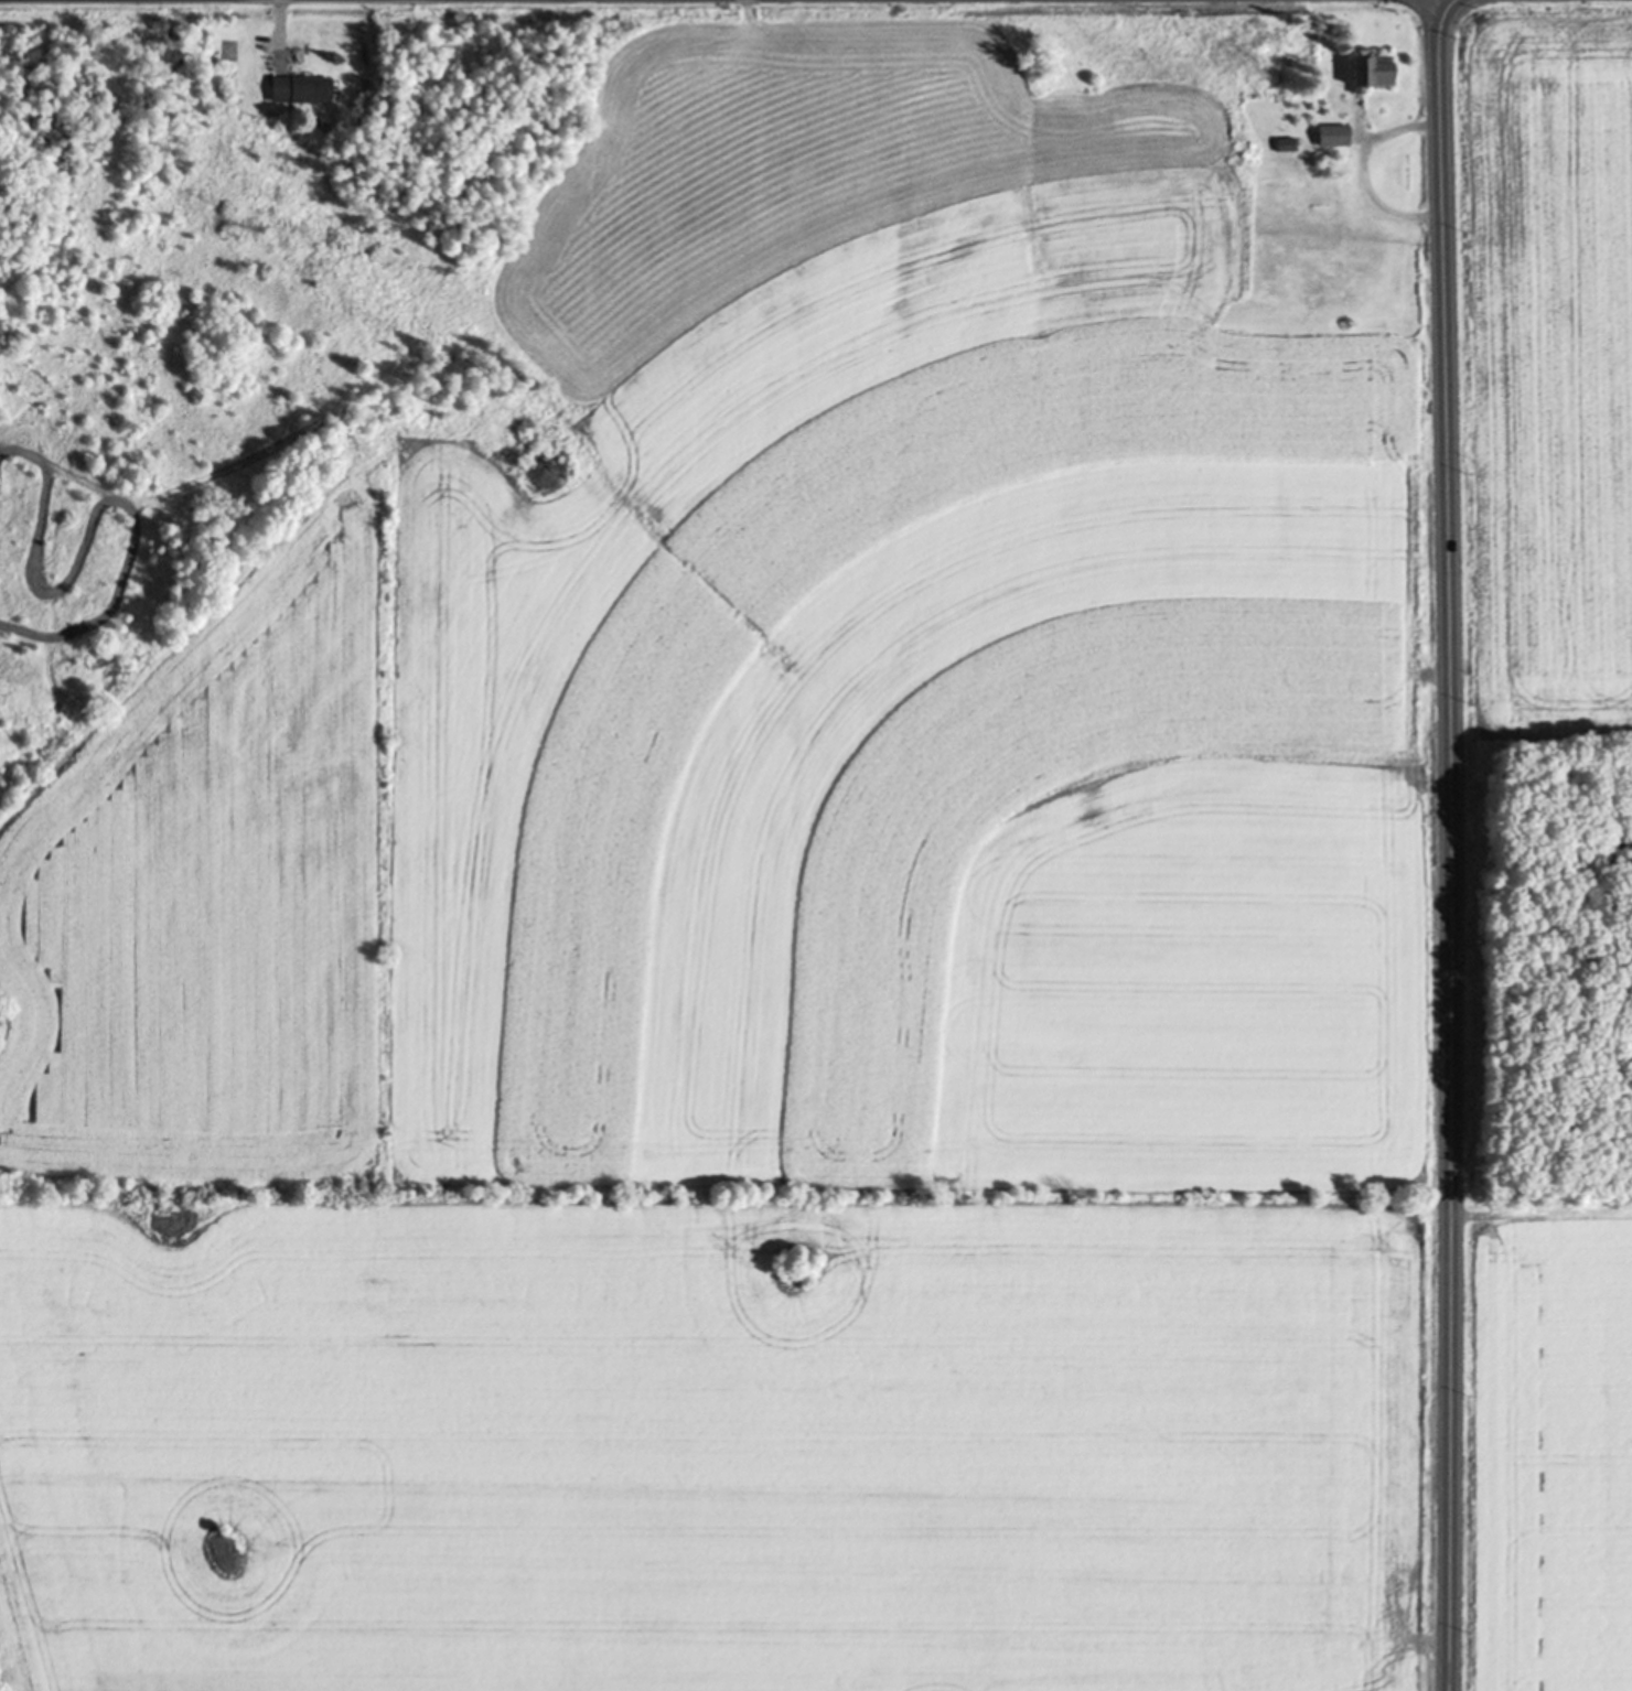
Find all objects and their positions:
building: (1371, 73)
building: (298, 91)
building: (1331, 138)
road: (1453, 844)

